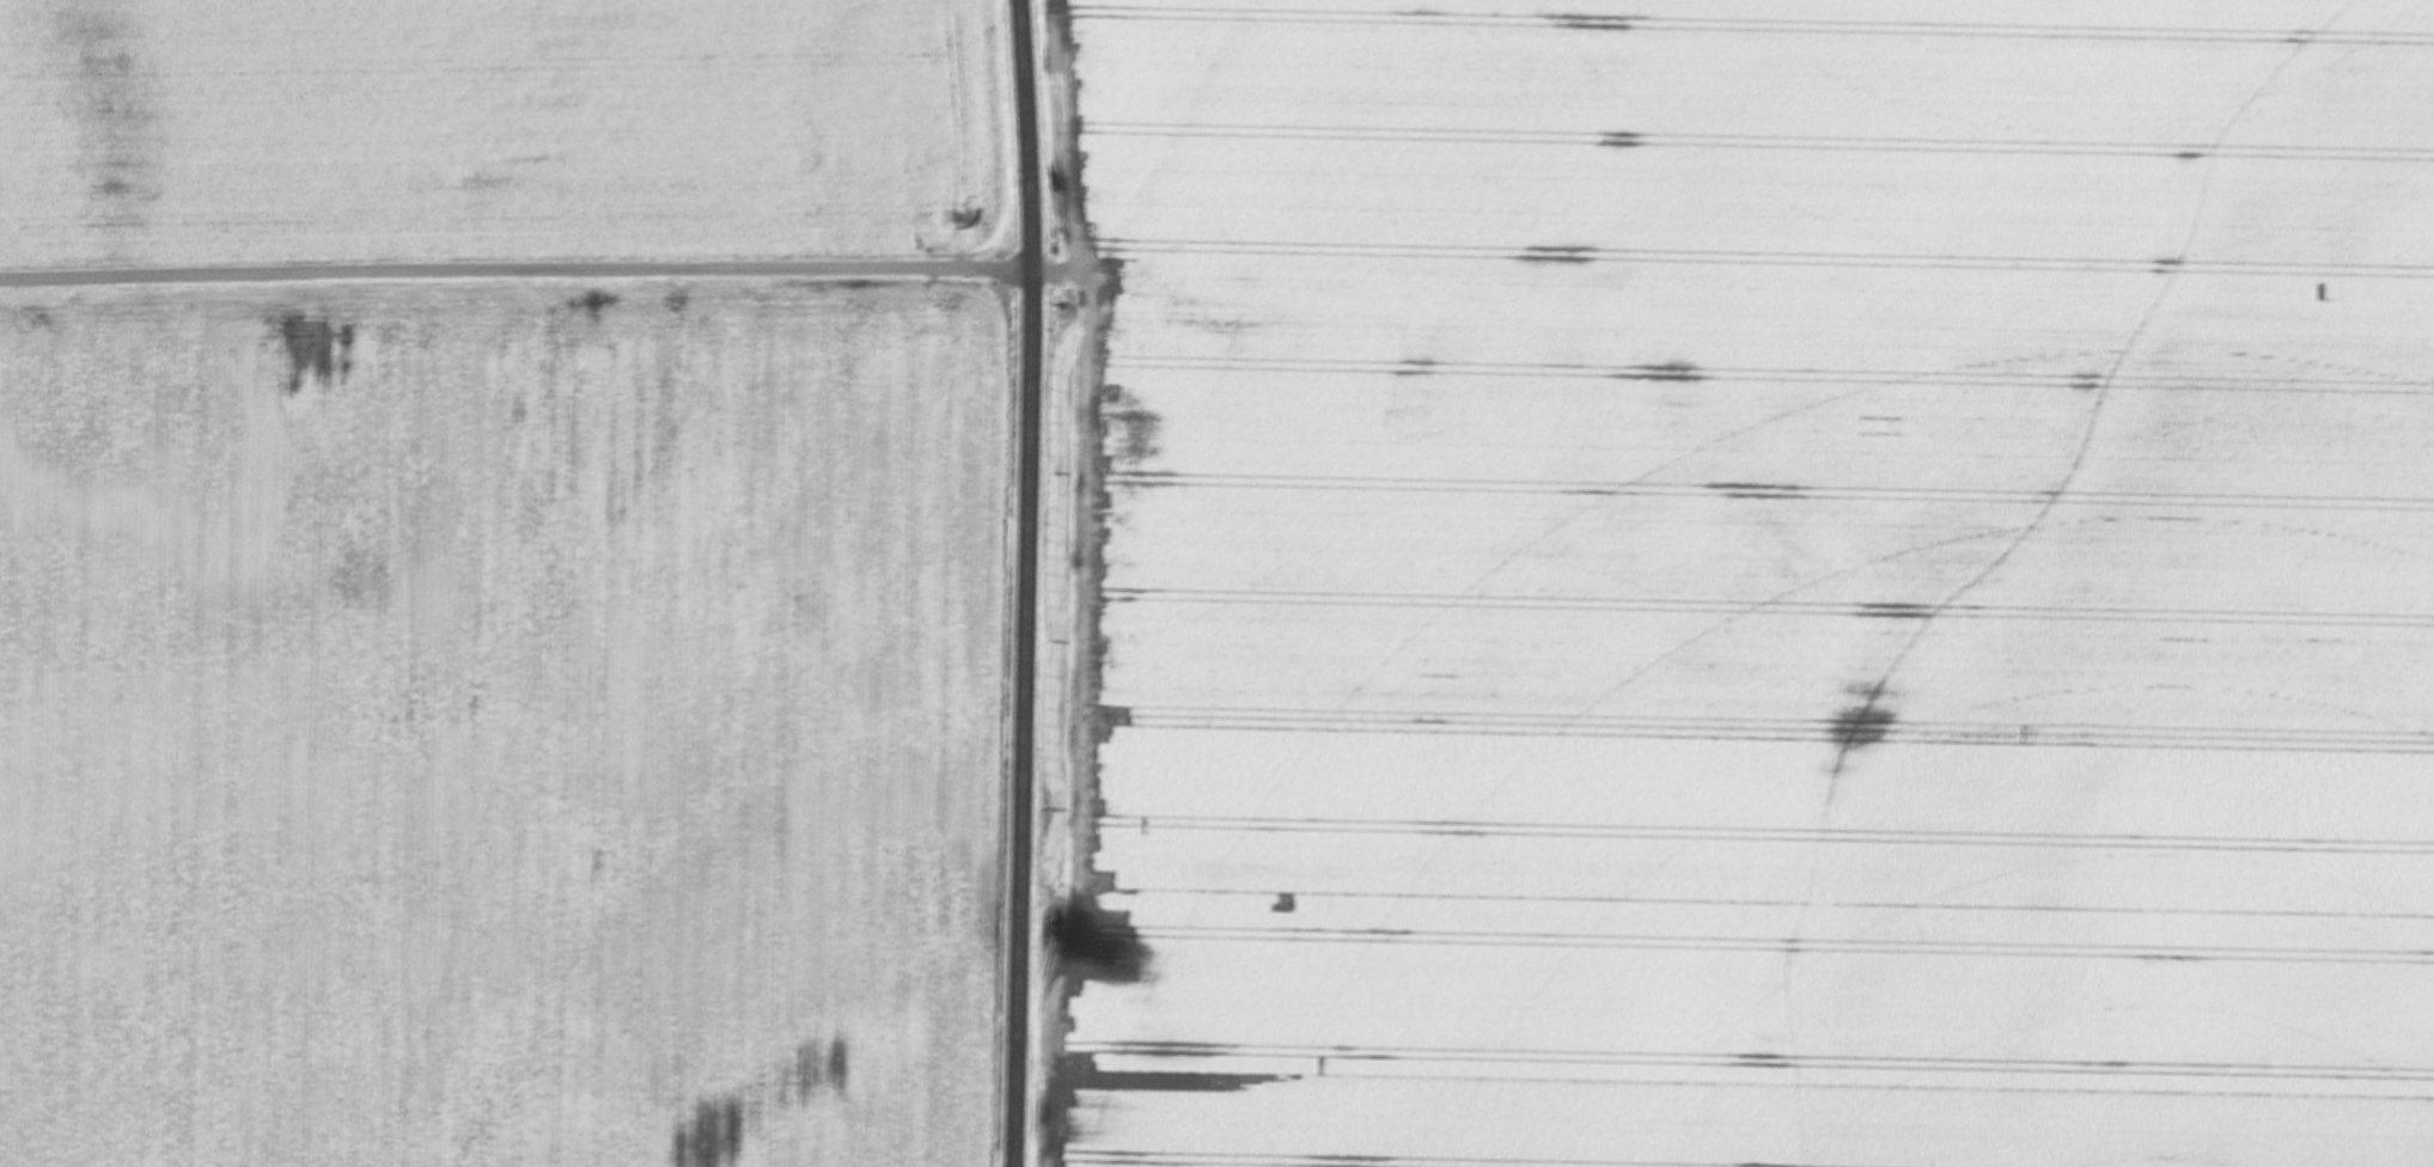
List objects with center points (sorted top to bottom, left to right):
road: (516, 269)
road: (1025, 582)

